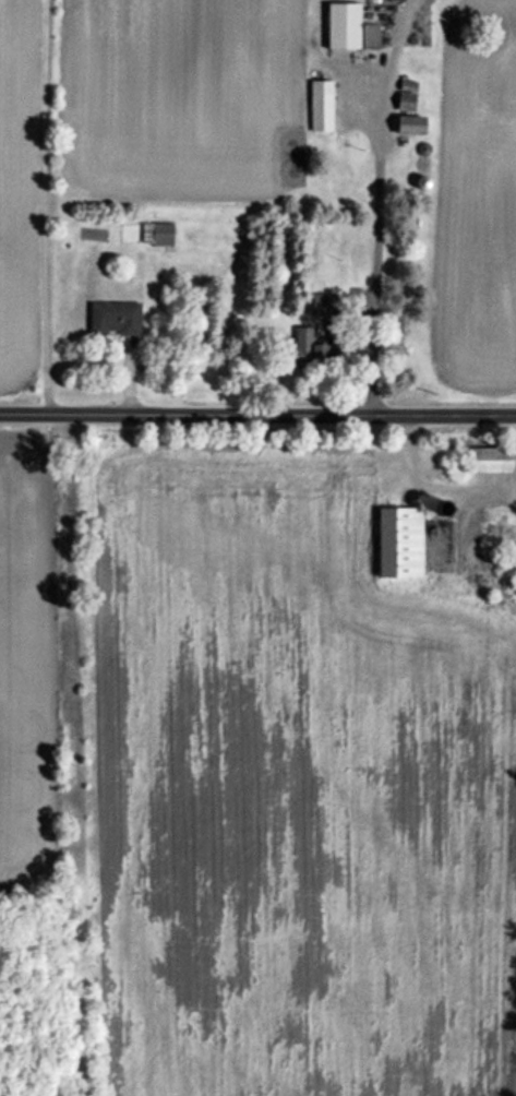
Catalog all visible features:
building: (351, 28)
building: (322, 106)
building: (412, 126)
building: (159, 234)
road: (376, 253)
building: (358, 261)
building: (116, 319)
building: (304, 335)
road: (257, 409)
building: (492, 461)
building: (406, 539)

